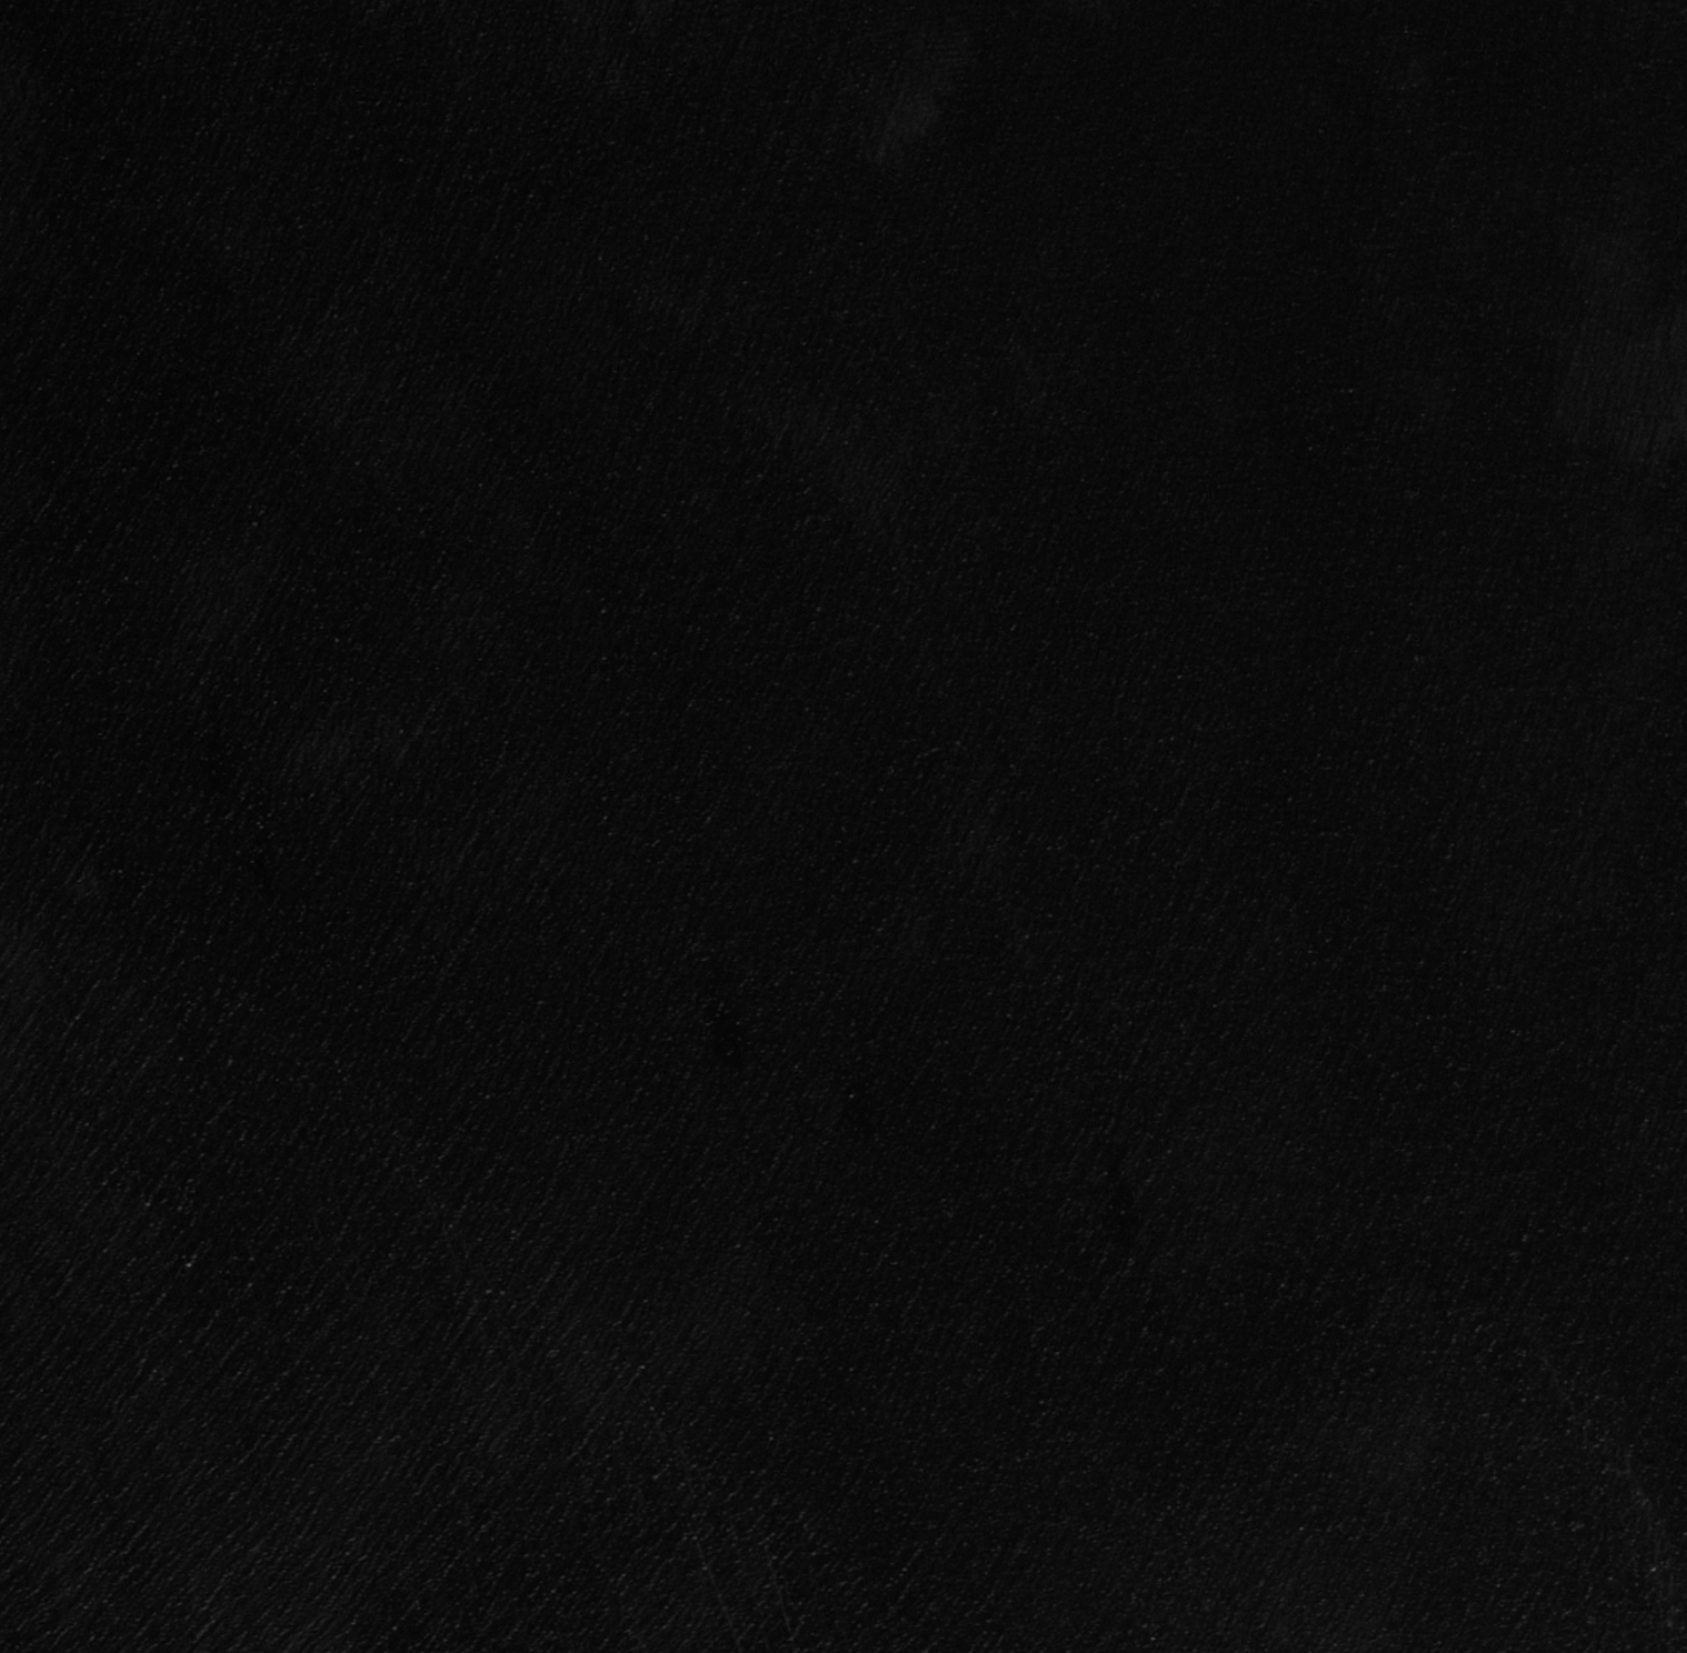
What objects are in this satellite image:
river: (860, 264)

